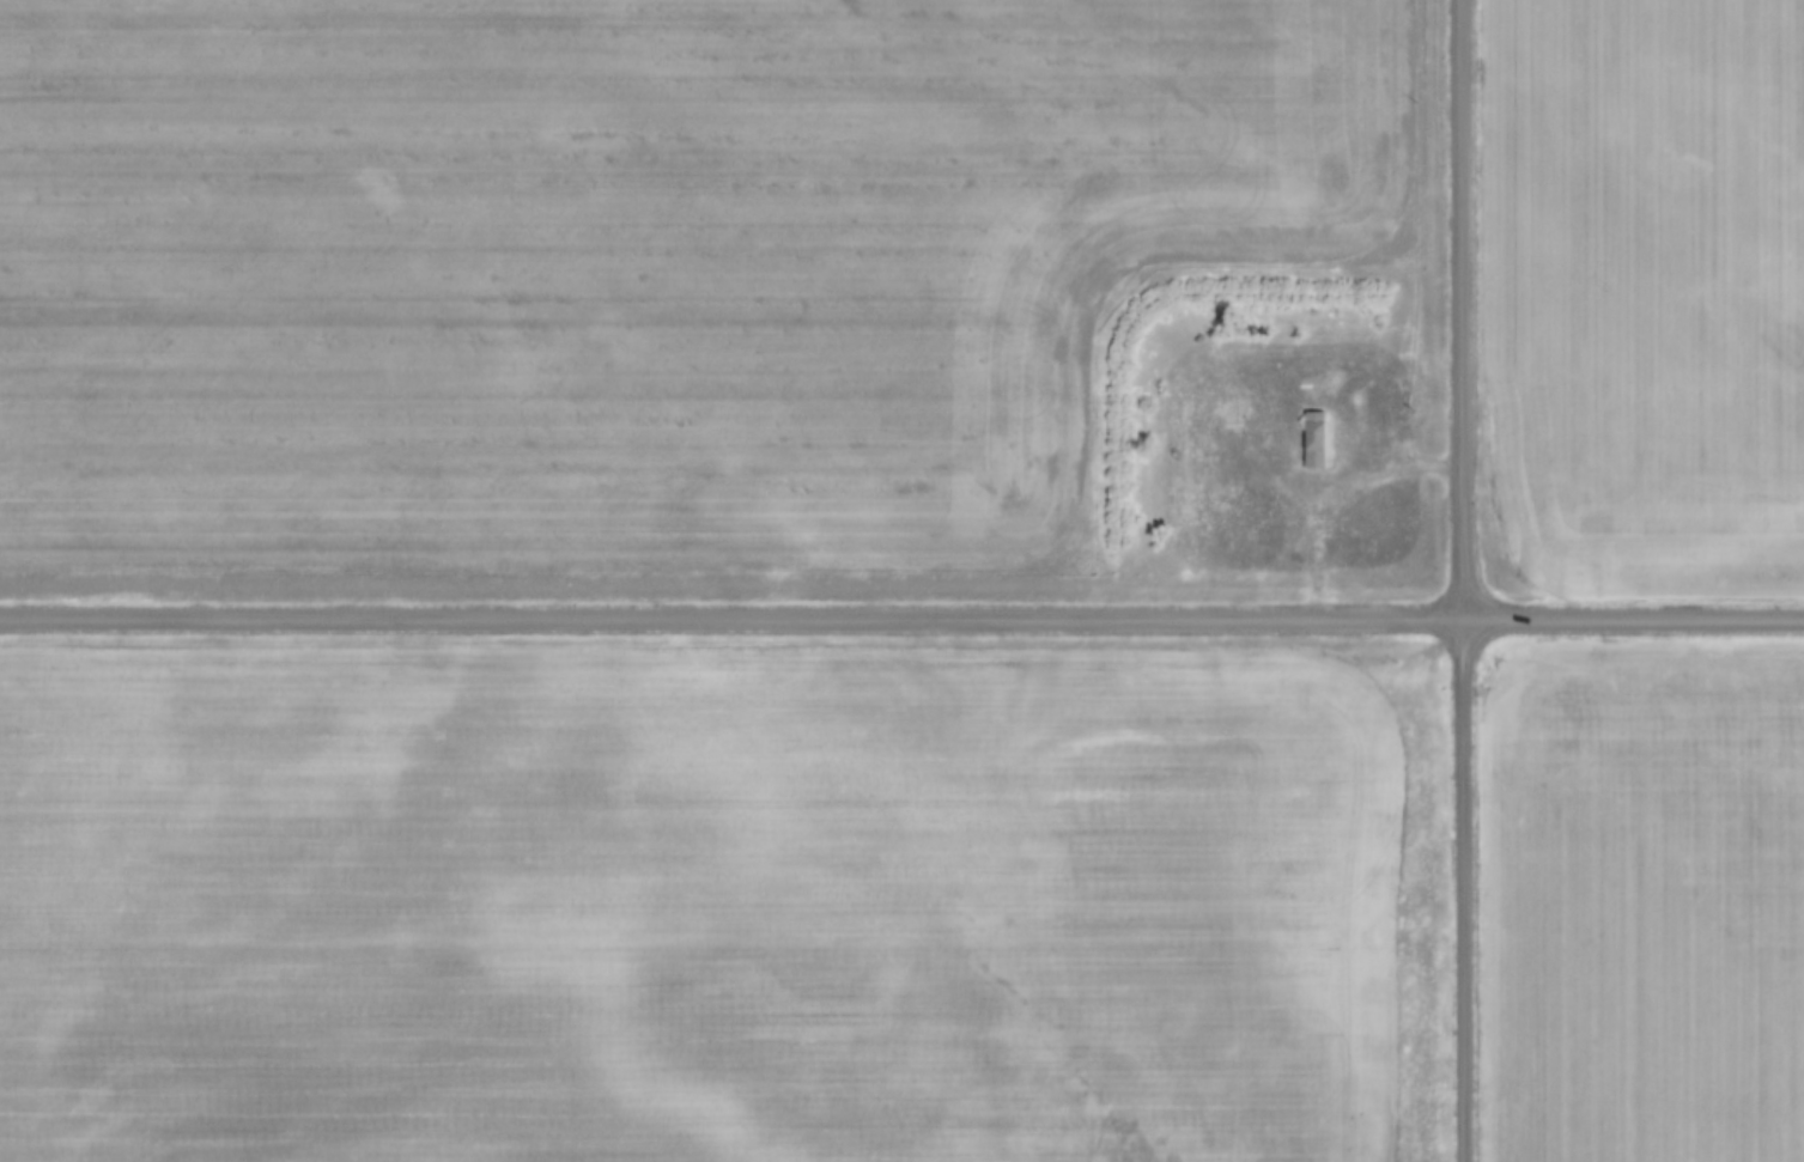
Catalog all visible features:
building: (1318, 438)
road: (1340, 498)
road: (1464, 580)
road: (901, 620)

